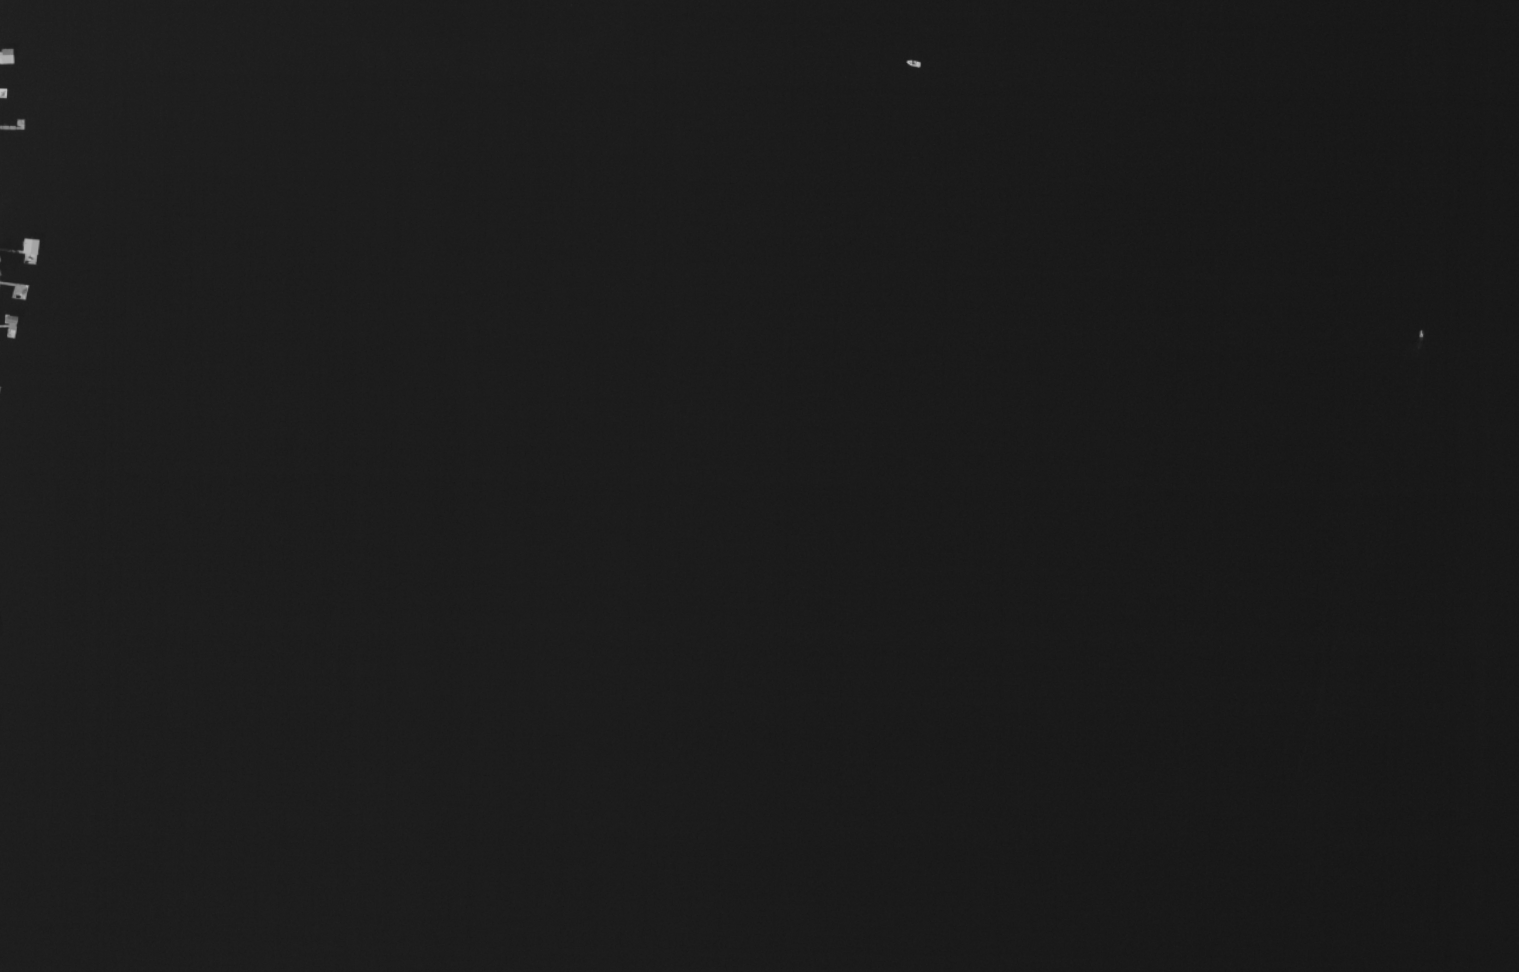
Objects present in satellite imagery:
river: (1334, 486)

